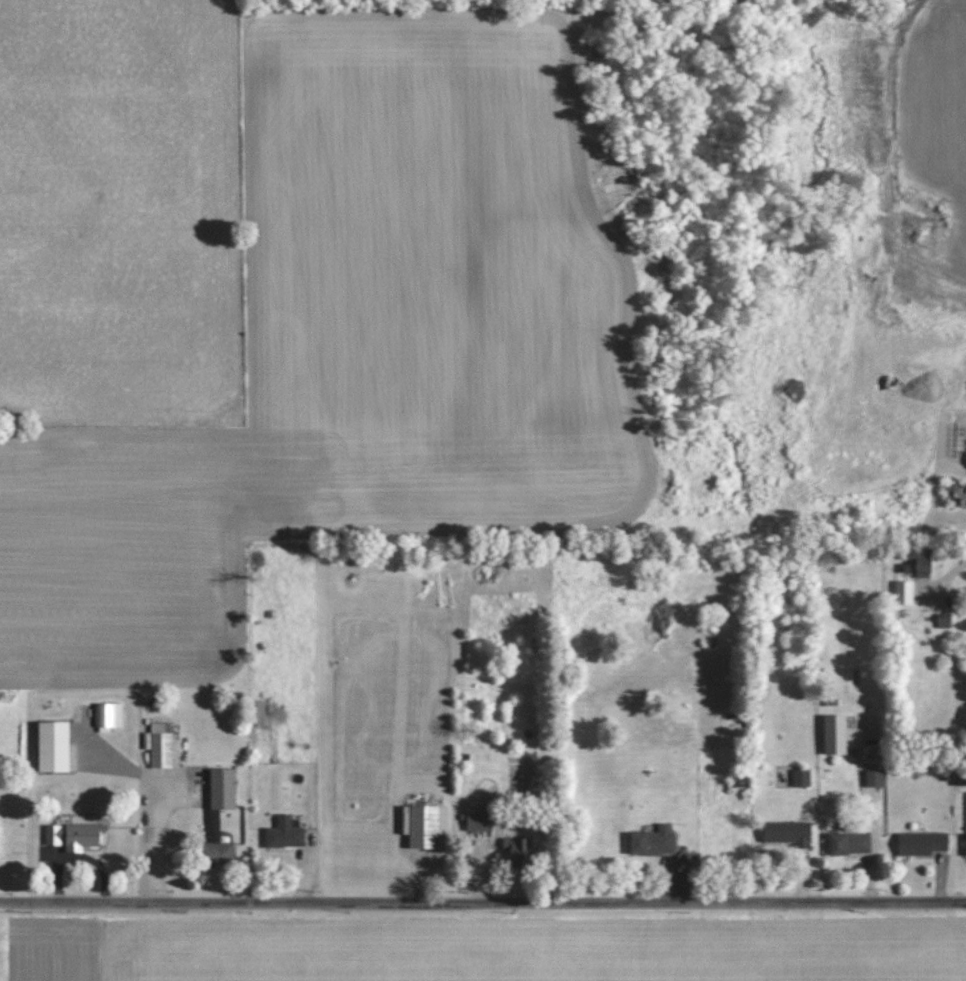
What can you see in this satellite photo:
building: (921, 562)
road: (954, 572)
building: (904, 592)
building: (260, 713)
building: (108, 716)
building: (835, 735)
building: (164, 746)
building: (54, 747)
building: (802, 778)
building: (875, 778)
building: (960, 778)
building: (223, 789)
building: (481, 820)
building: (429, 827)
building: (285, 833)
building: (788, 834)
building: (73, 836)
building: (654, 842)
road: (161, 843)
building: (922, 843)
building: (850, 844)
building: (517, 852)
building: (220, 854)
road: (482, 904)

